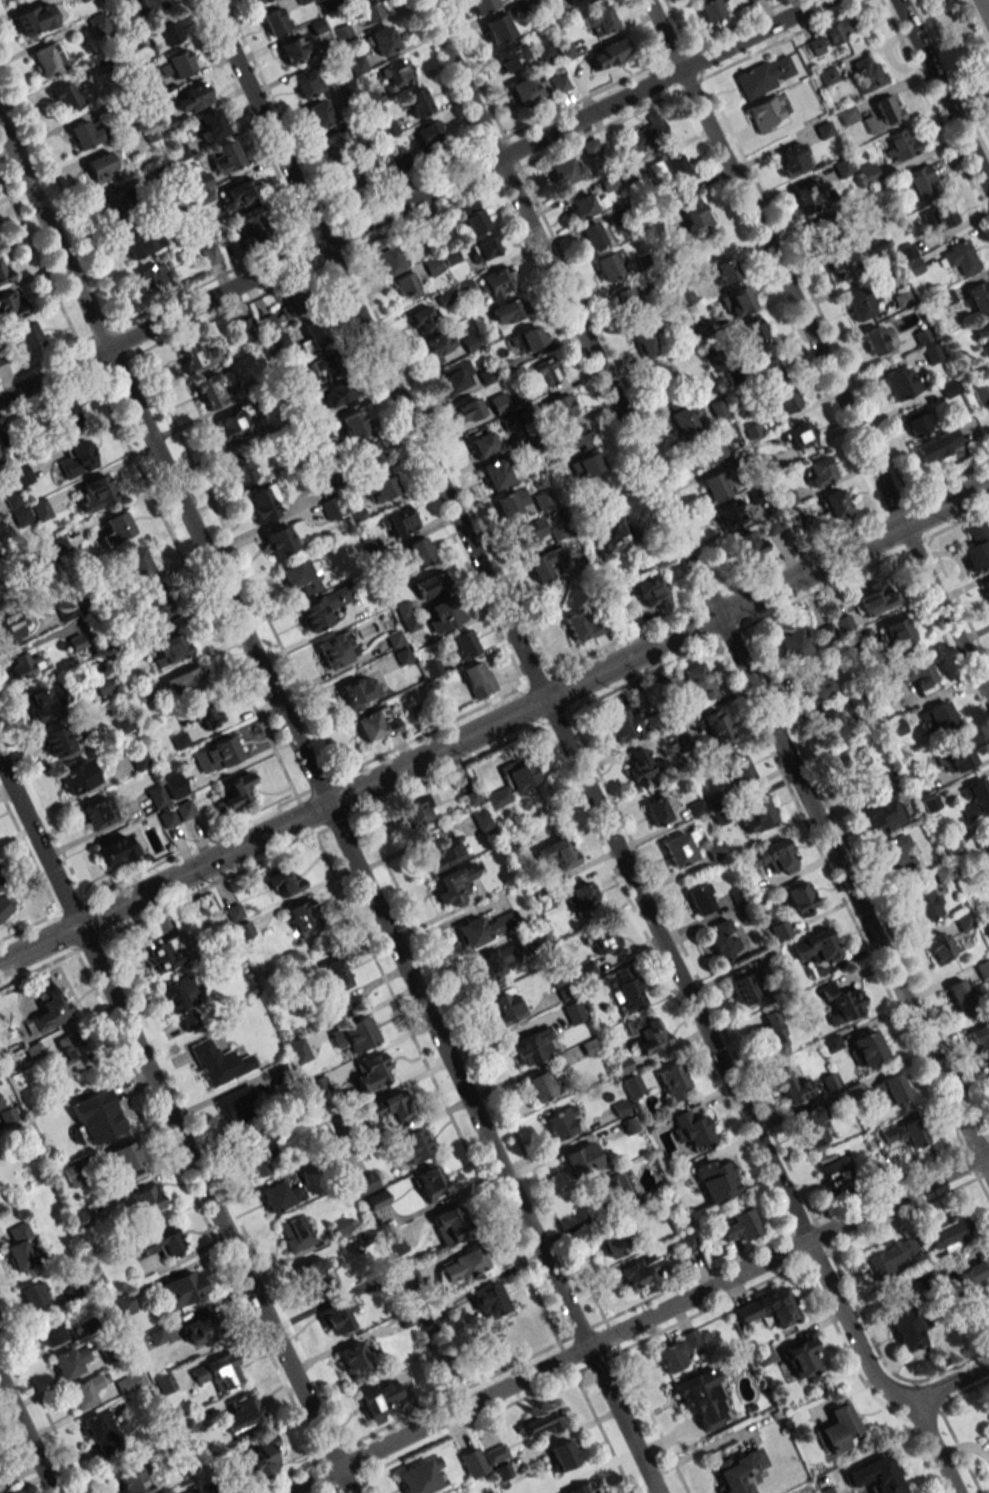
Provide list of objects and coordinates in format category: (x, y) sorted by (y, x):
building: (259, 0)
building: (751, 0)
building: (301, 1)
building: (577, 2)
building: (152, 5)
building: (481, 5)
building: (709, 9)
road: (984, 10)
road: (987, 11)
parking lot: (983, 12)
building: (367, 13)
building: (33, 19)
road: (978, 20)
building: (275, 21)
building: (598, 21)
building: (98, 23)
building: (498, 27)
building: (164, 36)
building: (827, 36)
building: (382, 40)
building: (293, 50)
building: (543, 52)
building: (608, 53)
building: (509, 57)
building: (47, 59)
building: (175, 65)
building: (396, 72)
building: (867, 74)
building: (764, 76)
building: (827, 76)
building: (306, 83)
building: (559, 84)
building: (526, 89)
road: (942, 93)
building: (65, 95)
building: (372, 95)
building: (193, 98)
building: (416, 102)
building: (883, 113)
building: (318, 114)
building: (767, 115)
building: (846, 115)
building: (210, 125)
building: (823, 130)
building: (429, 132)
building: (85, 134)
building: (645, 135)
building: (335, 142)
building: (899, 144)
building: (590, 147)
building: (224, 157)
building: (792, 160)
building: (100, 167)
building: (841, 167)
building: (565, 170)
building: (667, 170)
building: (350, 175)
building: (920, 183)
building: (237, 195)
building: (807, 196)
road: (410, 200)
building: (580, 204)
building: (119, 206)
building: (691, 212)
building: (472, 217)
building: (939, 217)
building: (253, 220)
building: (822, 235)
building: (592, 237)
building: (143, 242)
building: (873, 246)
building: (484, 248)
building: (906, 252)
building: (210, 254)
building: (960, 257)
building: (389, 259)
building: (433, 266)
building: (607, 266)
building: (840, 268)
building: (723, 271)
building: (3, 273)
building: (153, 277)
building: (496, 283)
building: (407, 286)
building: (978, 297)
building: (626, 298)
building: (739, 300)
building: (857, 304)
building: (10, 306)
building: (291, 306)
building: (507, 311)
building: (424, 318)
building: (981, 328)
building: (752, 333)
building: (312, 335)
building: (26, 337)
building: (527, 339)
building: (642, 339)
building: (875, 339)
building: (278, 341)
building: (436, 346)
road: (817, 350)
building: (985, 351)
building: (931, 353)
building: (198, 357)
building: (323, 366)
building: (545, 371)
building: (770, 371)
building: (455, 377)
building: (901, 383)
building: (212, 387)
building: (981, 393)
building: (337, 395)
building: (785, 400)
building: (498, 403)
building: (559, 407)
building: (466, 410)
building: (718, 410)
building: (65, 412)
building: (685, 420)
building: (916, 421)
building: (354, 424)
building: (228, 427)
building: (751, 430)
building: (799, 434)
building: (571, 439)
building: (483, 442)
building: (937, 446)
building: (0, 454)
building: (705, 454)
building: (371, 457)
building: (76, 460)
building: (586, 465)
building: (241, 468)
building: (818, 471)
building: (494, 473)
building: (717, 483)
building: (381, 489)
building: (94, 493)
building: (542, 500)
building: (262, 502)
building: (512, 502)
building: (835, 505)
building: (330, 508)
building: (728, 513)
building: (398, 521)
building: (116, 527)
building: (615, 531)
building: (531, 532)
building: (279, 541)
building: (747, 545)
building: (978, 547)
building: (419, 550)
building: (134, 563)
building: (545, 564)
building: (301, 576)
building: (429, 584)
road: (704, 586)
building: (985, 588)
building: (651, 592)
building: (1, 597)
building: (876, 599)
building: (153, 603)
building: (323, 607)
building: (442, 614)
building: (406, 616)
building: (580, 626)
building: (9, 628)
building: (825, 634)
building: (898, 635)
building: (792, 643)
building: (462, 644)
building: (167, 646)
building: (335, 649)
building: (23, 665)
building: (433, 669)
building: (920, 676)
building: (477, 679)
building: (183, 681)
building: (696, 682)
building: (815, 685)
building: (144, 690)
building: (358, 692)
building: (856, 697)
building: (45, 702)
building: (207, 714)
building: (937, 718)
road: (494, 723)
building: (621, 723)
building: (829, 723)
building: (376, 724)
building: (896, 727)
building: (717, 728)
building: (56, 741)
building: (179, 741)
building: (216, 755)
road: (571, 755)
building: (958, 755)
building: (644, 767)
building: (855, 767)
building: (742, 772)
building: (519, 775)
building: (78, 776)
building: (174, 787)
building: (235, 791)
building: (156, 795)
building: (976, 798)
building: (659, 806)
road: (328, 809)
building: (184, 810)
building: (415, 811)
building: (882, 811)
building: (96, 813)
building: (167, 817)
building: (756, 818)
building: (982, 841)
building: (683, 846)
building: (116, 851)
building: (556, 853)
building: (445, 854)
building: (898, 855)
building: (774, 856)
building: (942, 873)
building: (283, 881)
building: (453, 884)
building: (581, 895)
building: (799, 898)
building: (701, 899)
building: (5, 904)
building: (925, 904)
building: (303, 917)
building: (485, 928)
building: (723, 939)
building: (605, 941)
building: (816, 946)
building: (939, 946)
building: (163, 953)
building: (493, 963)
building: (983, 969)
building: (335, 983)
building: (742, 989)
building: (624, 990)
building: (961, 997)
building: (842, 1002)
building: (184, 1004)
building: (505, 1006)
building: (47, 1011)
building: (573, 1012)
building: (645, 1033)
building: (354, 1035)
building: (772, 1035)
building: (982, 1041)
building: (532, 1046)
building: (590, 1046)
building: (868, 1047)
building: (298, 1050)
building: (34, 1052)
building: (70, 1056)
building: (218, 1063)
building: (371, 1072)
building: (673, 1082)
building: (319, 1085)
building: (541, 1085)
building: (632, 1086)
building: (792, 1088)
building: (890, 1090)
building: (840, 1098)
building: (236, 1105)
building: (389, 1108)
building: (97, 1117)
building: (560, 1122)
building: (629, 1124)
building: (812, 1127)
road: (175, 1128)
building: (692, 1130)
building: (905, 1133)
building: (412, 1145)
building: (257, 1152)
building: (581, 1159)
building: (126, 1160)
building: (833, 1168)
building: (717, 1180)
building: (365, 1182)
building: (429, 1183)
building: (612, 1192)
building: (276, 1197)
building: (376, 1199)
building: (146, 1201)
building: (451, 1221)
building: (738, 1225)
building: (341, 1226)
building: (295, 1233)
building: (949, 1233)
building: (616, 1239)
building: (161, 1242)
building: (687, 1243)
building: (20, 1248)
building: (890, 1256)
building: (461, 1266)
building: (639, 1272)
building: (315, 1276)
road: (494, 1278)
building: (182, 1289)
building: (975, 1290)
building: (34, 1296)
building: (487, 1300)
building: (124, 1304)
building: (766, 1307)
building: (335, 1314)
road: (638, 1322)
building: (198, 1329)
building: (910, 1329)
building: (49, 1331)
building: (677, 1351)
building: (764, 1356)
building: (801, 1358)
building: (354, 1359)
building: (70, 1360)
building: (219, 1372)
building: (130, 1382)
road: (950, 1382)
building: (165, 1385)
building: (84, 1392)
building: (702, 1398)
building: (377, 1399)
building: (243, 1415)
building: (539, 1423)
building: (185, 1428)
building: (837, 1430)
building: (101, 1432)
building: (987, 1437)
road: (25, 1439)
building: (562, 1455)
building: (261, 1456)
building: (472, 1462)
building: (740, 1471)
building: (876, 1475)
building: (420, 1476)
building: (135, 1480)
building: (191, 1491)
road: (652, 1491)

